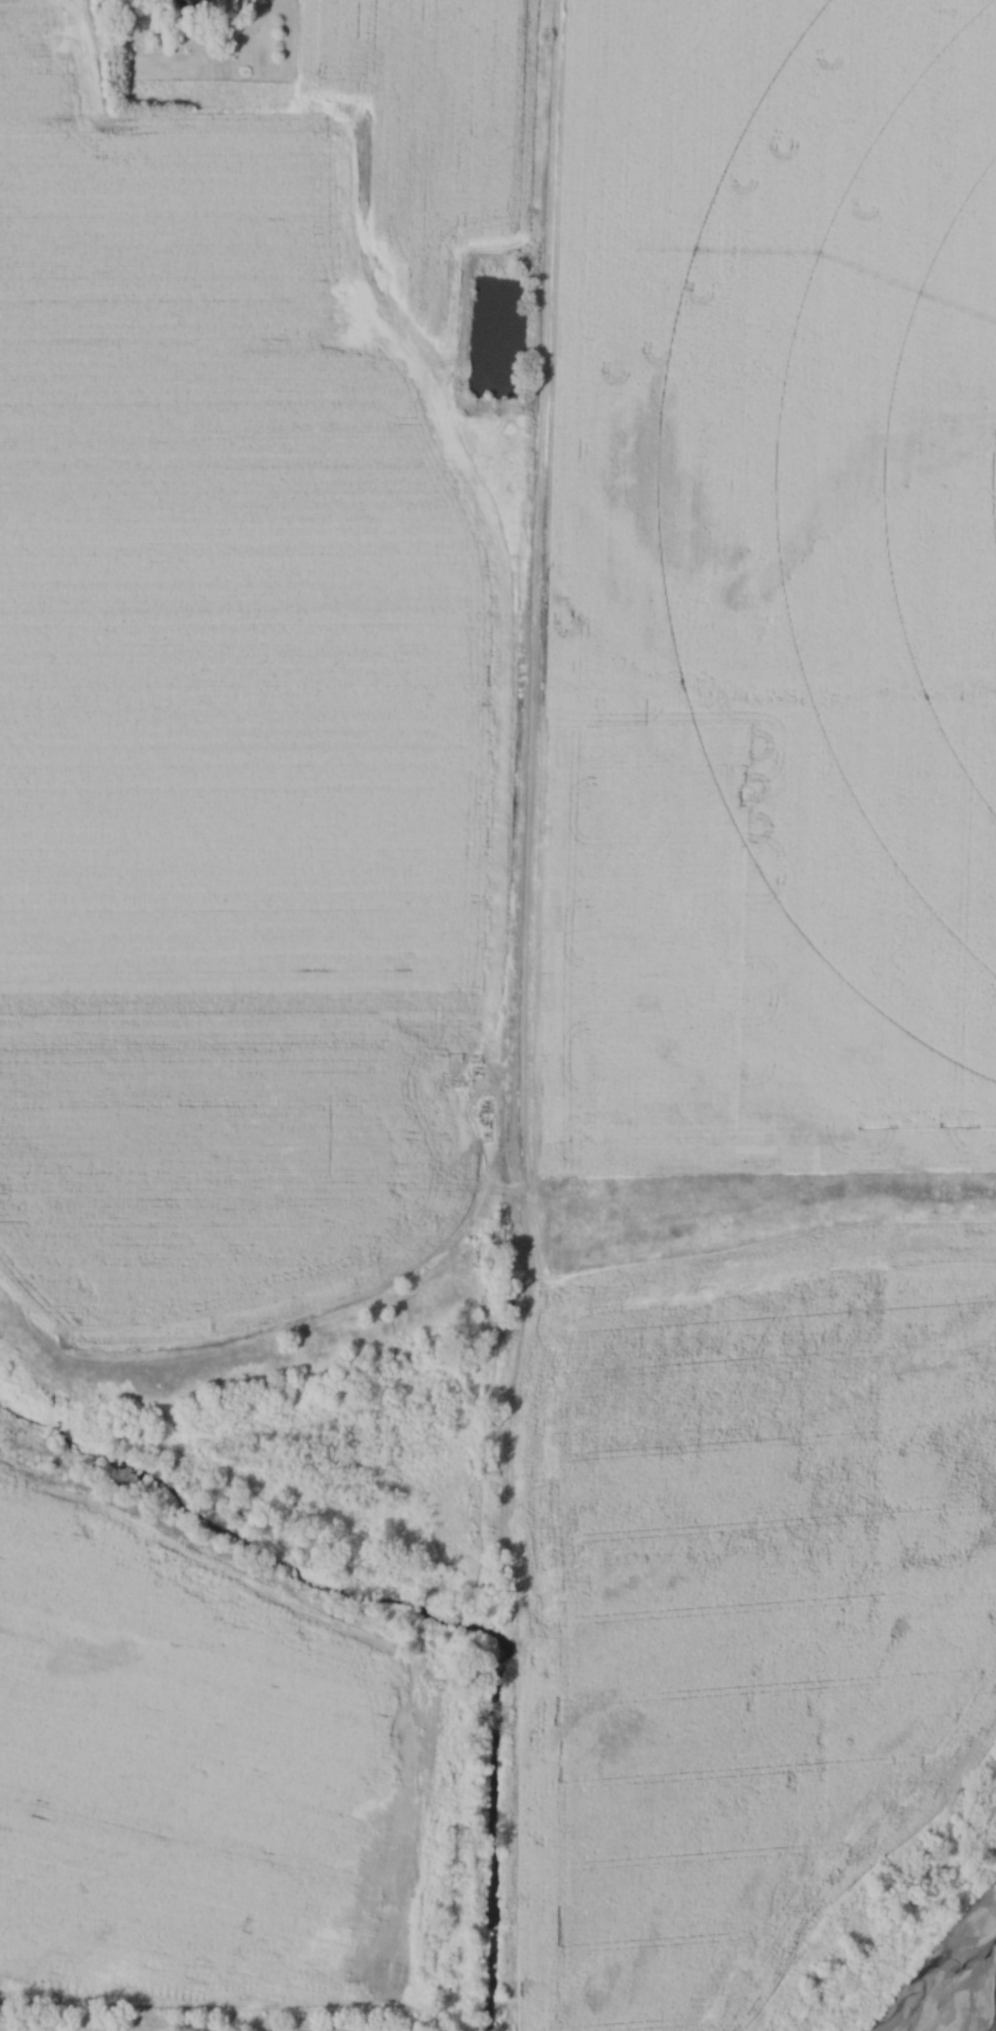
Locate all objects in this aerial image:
building: (184, 3)
river: (418, 1613)

